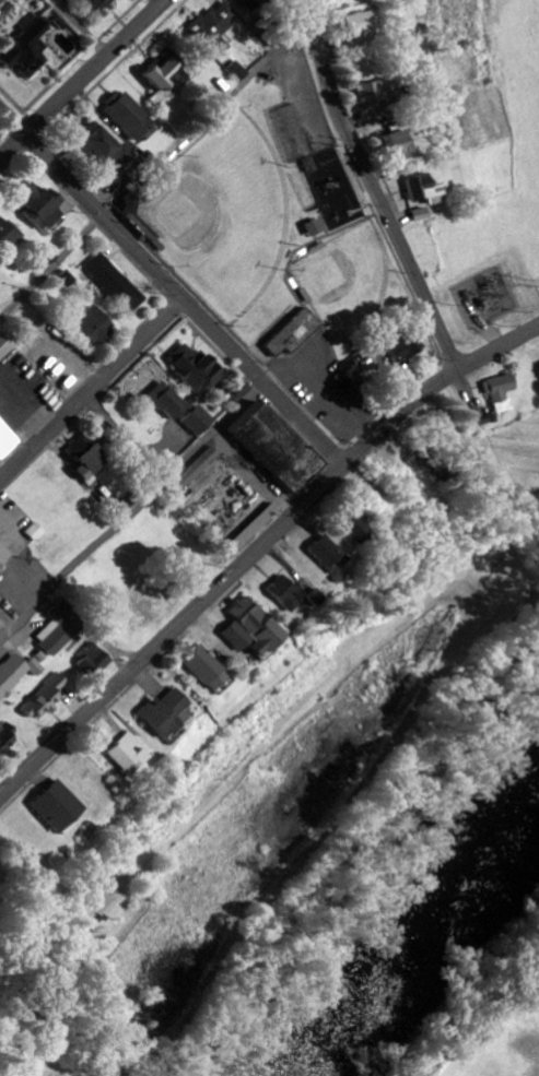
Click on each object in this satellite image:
building: (251, 3)
building: (99, 4)
building: (218, 27)
building: (359, 27)
building: (30, 49)
building: (241, 72)
building: (167, 78)
road: (83, 79)
building: (372, 98)
building: (131, 115)
building: (396, 145)
building: (108, 153)
road: (374, 190)
building: (422, 190)
building: (44, 209)
park: (226, 216)
building: (314, 227)
building: (9, 235)
park: (279, 239)
building: (0, 276)
building: (69, 279)
building: (118, 283)
park: (348, 284)
road: (171, 285)
building: (97, 327)
building: (296, 340)
building: (5, 345)
building: (405, 346)
building: (371, 364)
building: (197, 368)
road: (92, 388)
building: (501, 391)
building: (169, 401)
building: (200, 422)
building: (8, 441)
building: (280, 447)
building: (87, 458)
building: (198, 470)
road: (131, 512)
building: (253, 529)
building: (354, 529)
road: (256, 548)
building: (4, 554)
building: (326, 555)
building: (283, 593)
building: (313, 598)
building: (60, 629)
building: (250, 629)
building: (0, 632)
building: (94, 660)
building: (206, 669)
building: (16, 674)
building: (47, 698)
building: (164, 713)
building: (7, 737)
building: (128, 755)
building: (59, 808)
river: (418, 933)

